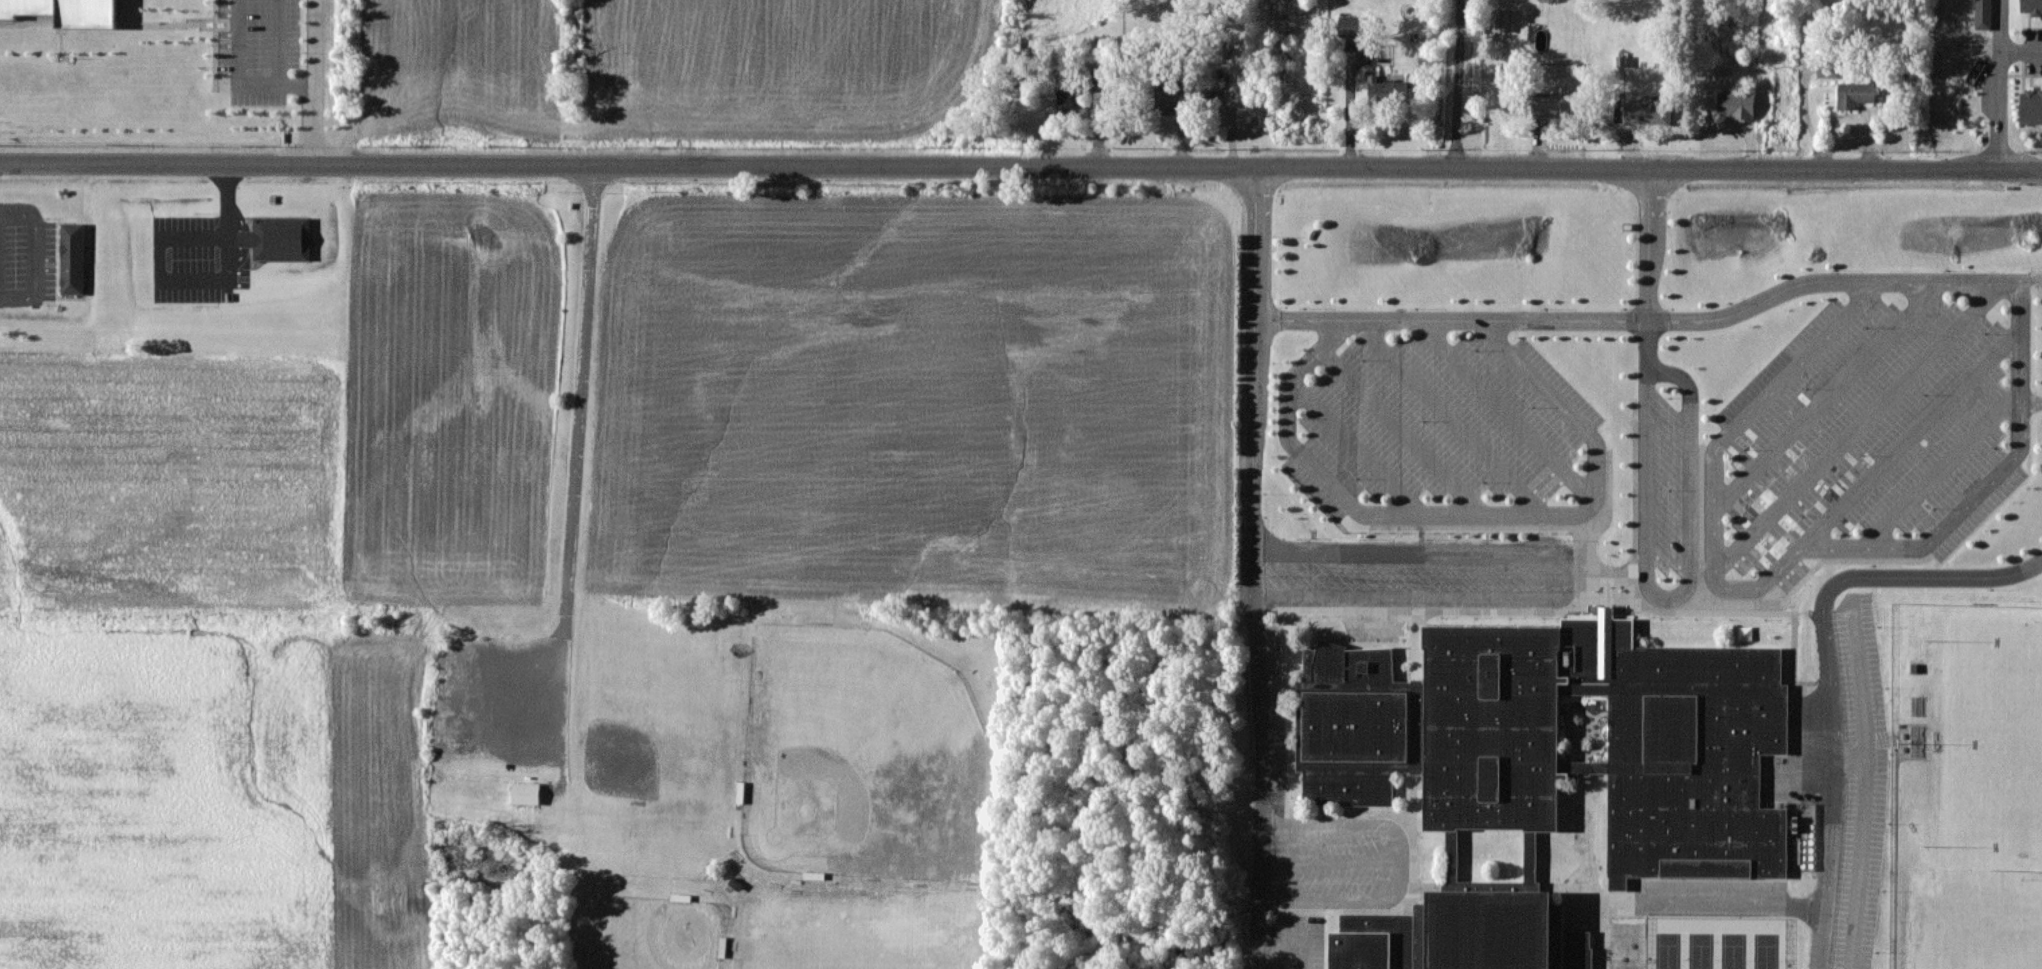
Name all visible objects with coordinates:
building: (2032, 7)
building: (65, 11)
building: (1983, 14)
building: (1502, 20)
road: (1999, 25)
building: (1351, 26)
road: (2020, 51)
building: (1828, 71)
road: (315, 81)
road: (261, 82)
road: (298, 82)
road: (1457, 83)
building: (1386, 90)
building: (1166, 92)
building: (1855, 94)
building: (1068, 98)
building: (1736, 104)
building: (2031, 106)
building: (1556, 107)
road: (1998, 109)
building: (1648, 111)
road: (1021, 165)
road: (238, 213)
road: (246, 238)
building: (278, 238)
road: (34, 254)
building: (72, 258)
road: (238, 262)
road: (195, 274)
road: (1653, 320)
road: (1829, 395)
road: (2033, 403)
road: (1506, 412)
road: (1449, 419)
road: (1860, 427)
road: (1401, 430)
road: (1356, 445)
road: (575, 460)
road: (1944, 467)
road: (1991, 481)
road: (1473, 515)
road: (1646, 528)
road: (1255, 567)
road: (1568, 575)
road: (1734, 587)
road: (1841, 626)
road: (1828, 670)
park: (1989, 742)
park: (863, 757)
building: (1547, 772)
road: (1867, 782)
building: (526, 792)
road: (1897, 838)
road: (1329, 862)
road: (1396, 865)
road: (1699, 900)
park: (647, 933)
park: (1717, 943)

